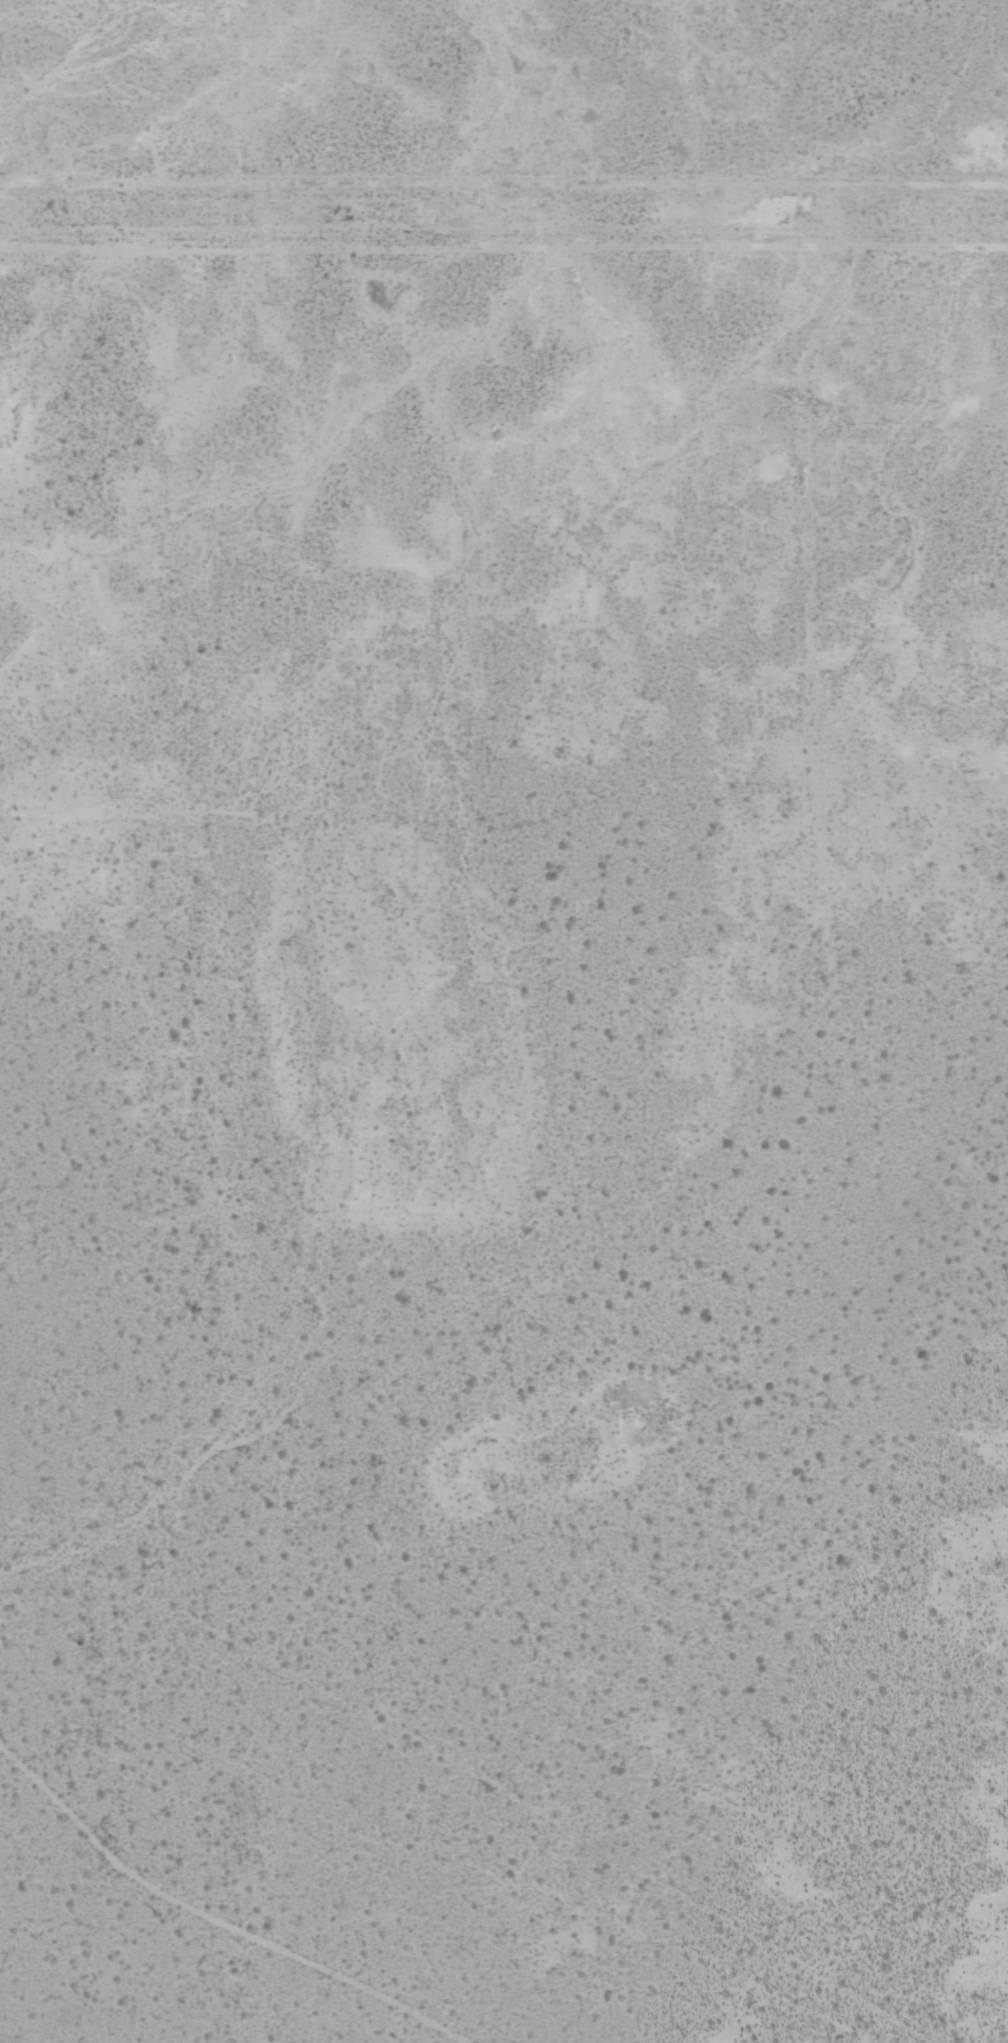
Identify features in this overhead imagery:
airport: (504, 1148)

